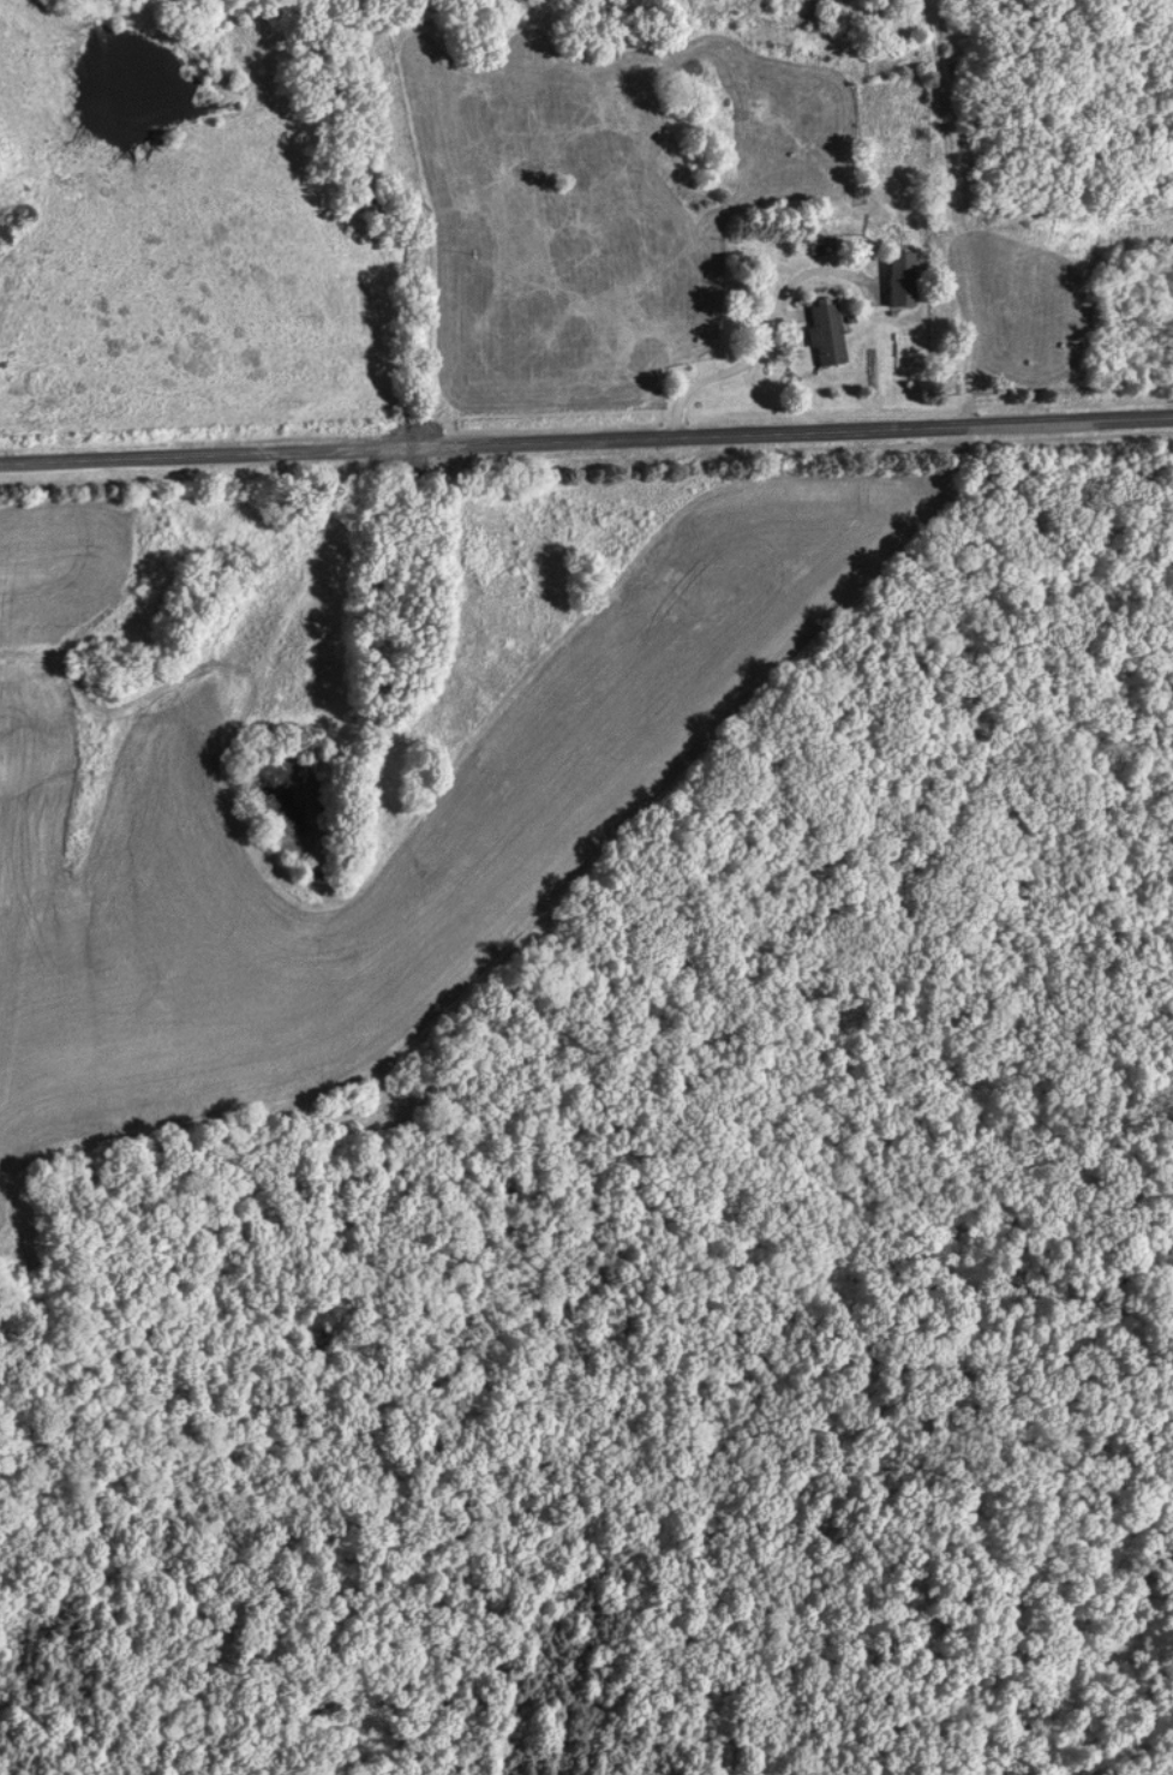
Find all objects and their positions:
road: (957, 238)
building: (897, 279)
road: (768, 328)
building: (824, 334)
road: (586, 438)

